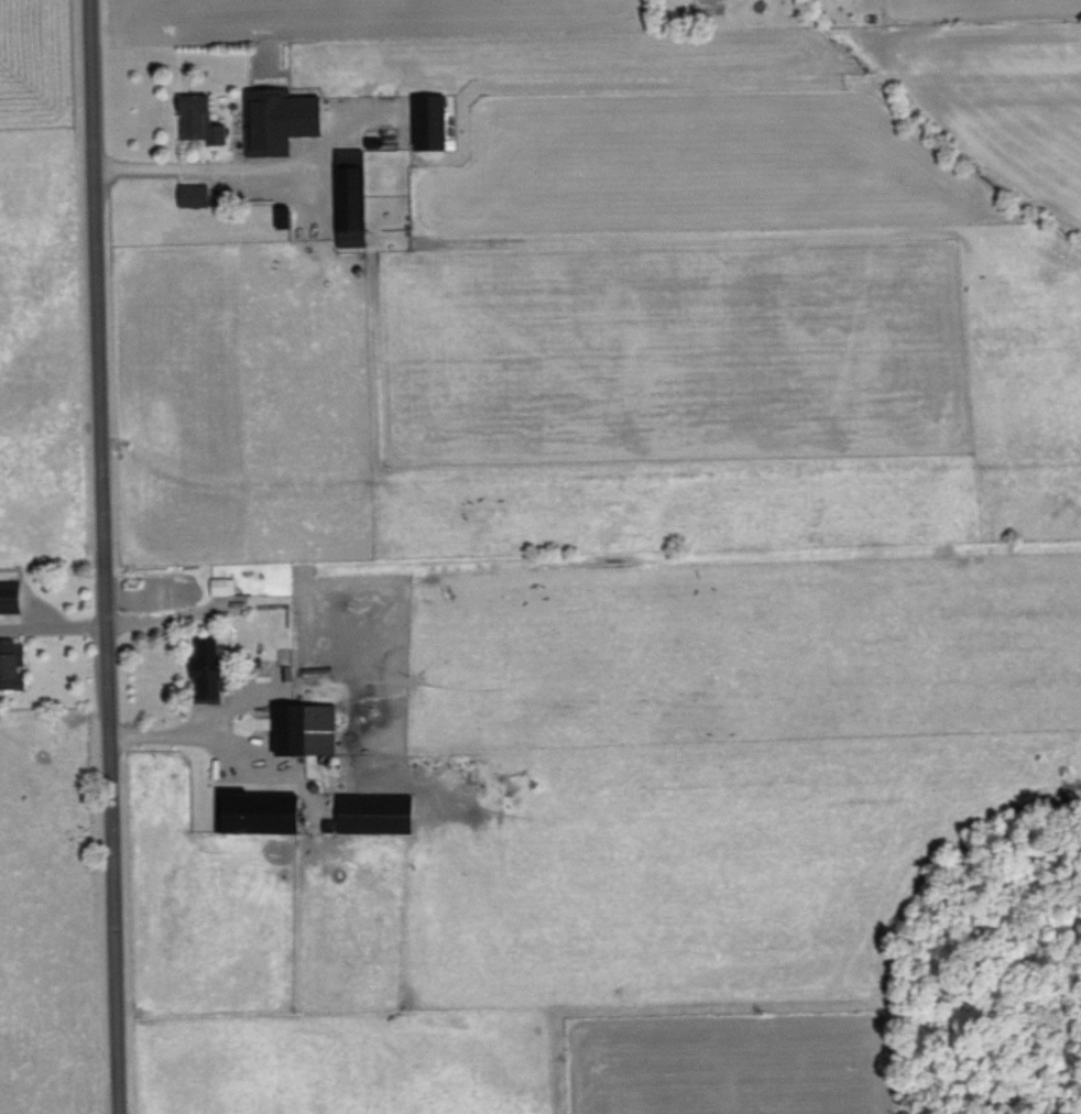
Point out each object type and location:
building: (203, 118)
building: (283, 118)
building: (434, 120)
road: (205, 168)
building: (198, 194)
building: (357, 194)
road: (109, 557)
building: (225, 586)
building: (14, 599)
road: (55, 625)
building: (13, 664)
building: (215, 668)
building: (307, 729)
road: (170, 735)
building: (262, 811)

